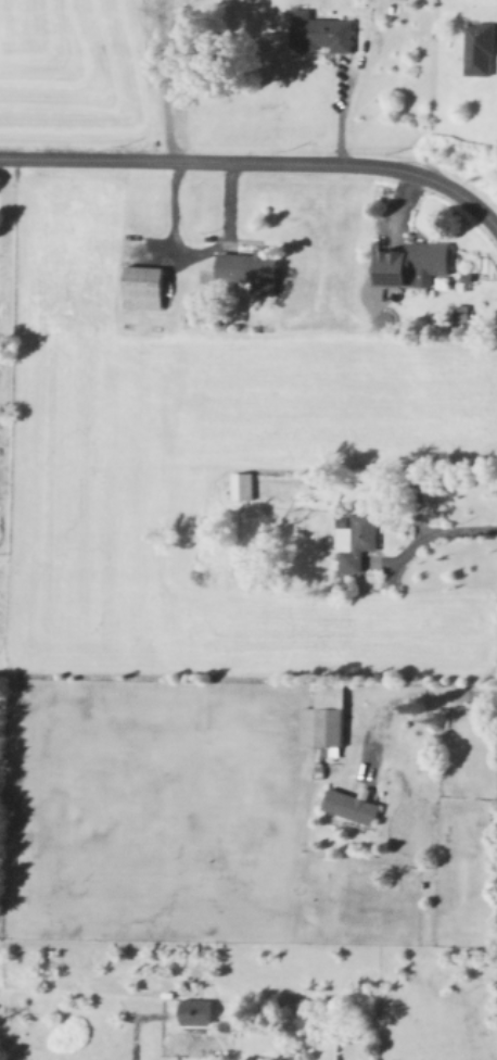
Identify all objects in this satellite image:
building: (322, 30)
building: (482, 48)
road: (342, 80)
road: (258, 163)
road: (190, 252)
building: (419, 262)
building: (252, 265)
building: (145, 285)
building: (243, 484)
road: (441, 533)
building: (357, 539)
road: (416, 695)
building: (356, 804)
building: (195, 1009)

